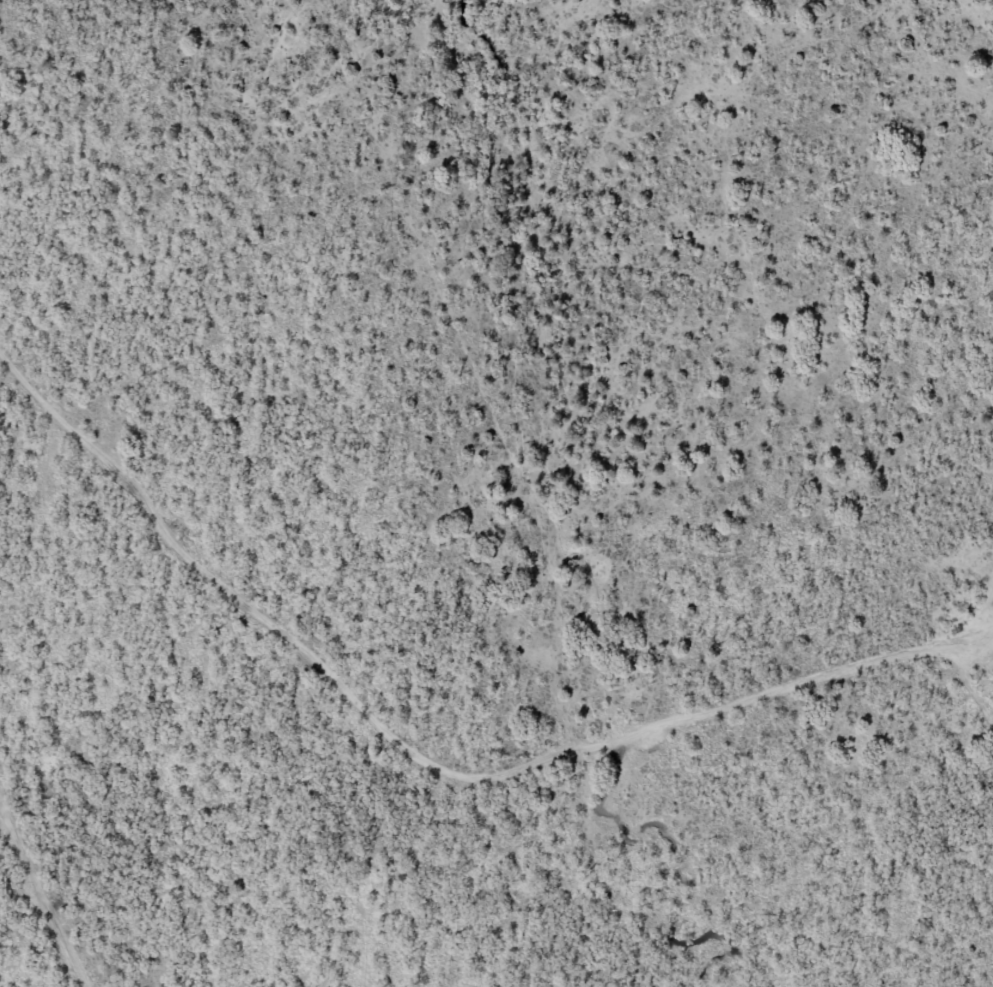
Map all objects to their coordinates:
road: (411, 758)

